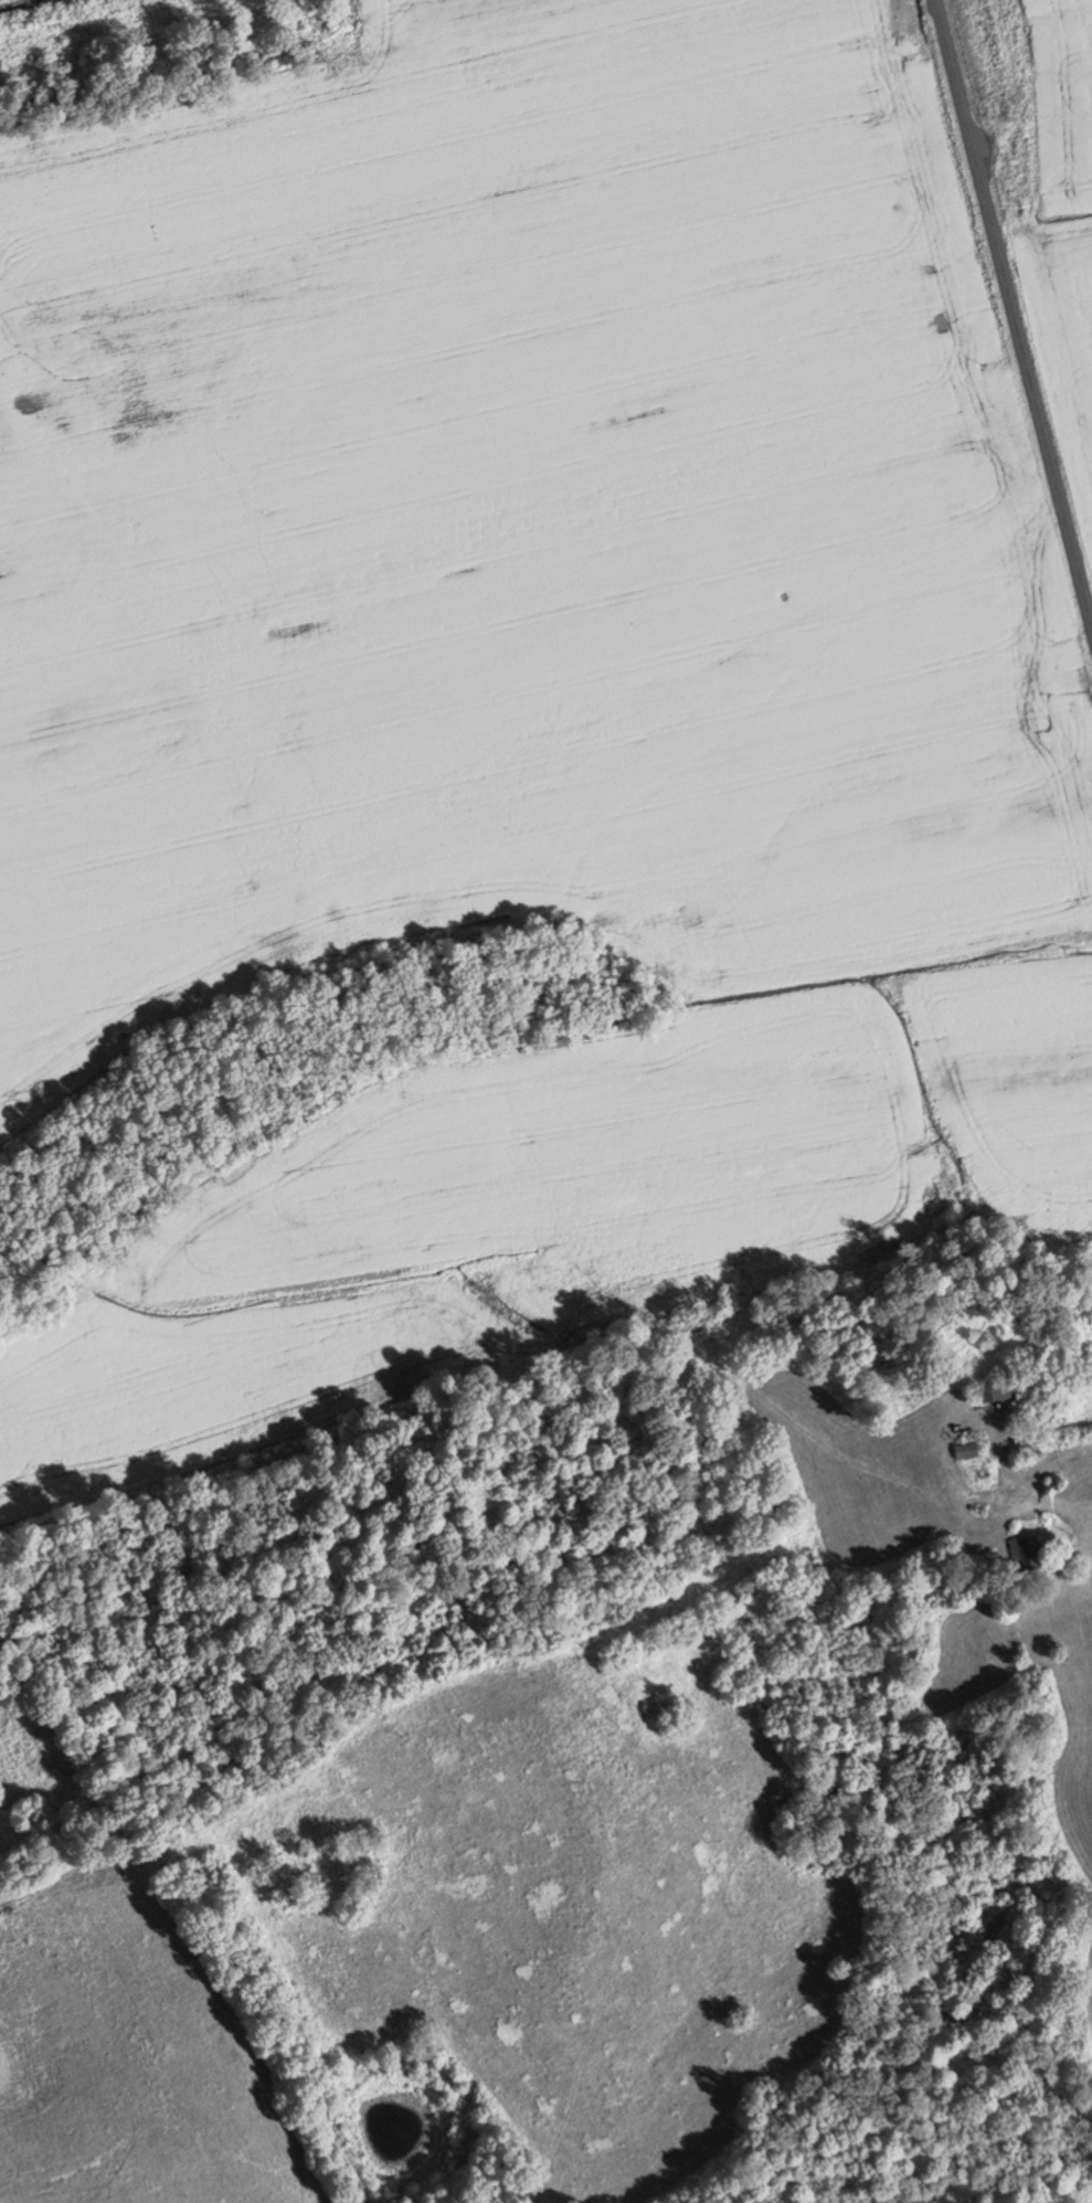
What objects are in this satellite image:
road: (1014, 314)

